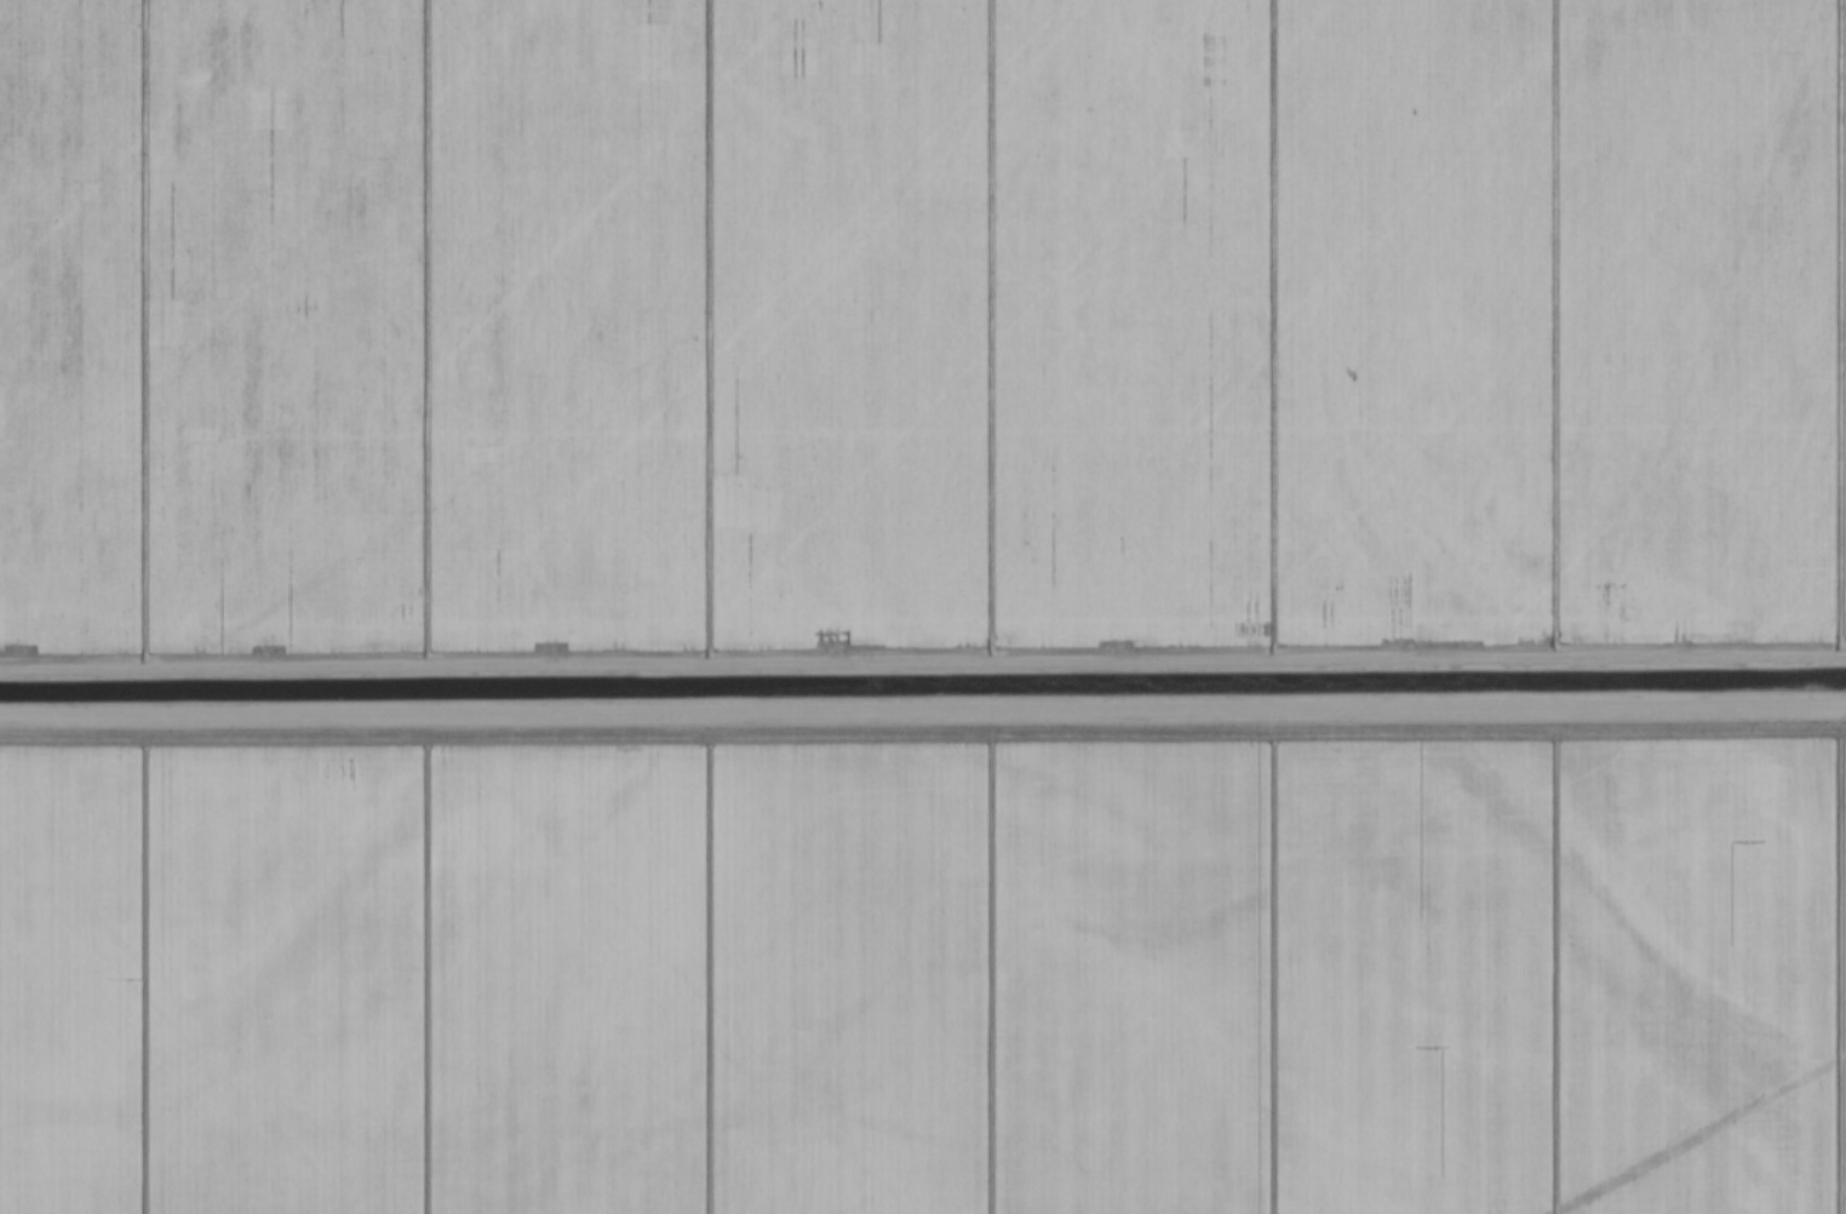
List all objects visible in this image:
road: (923, 708)

